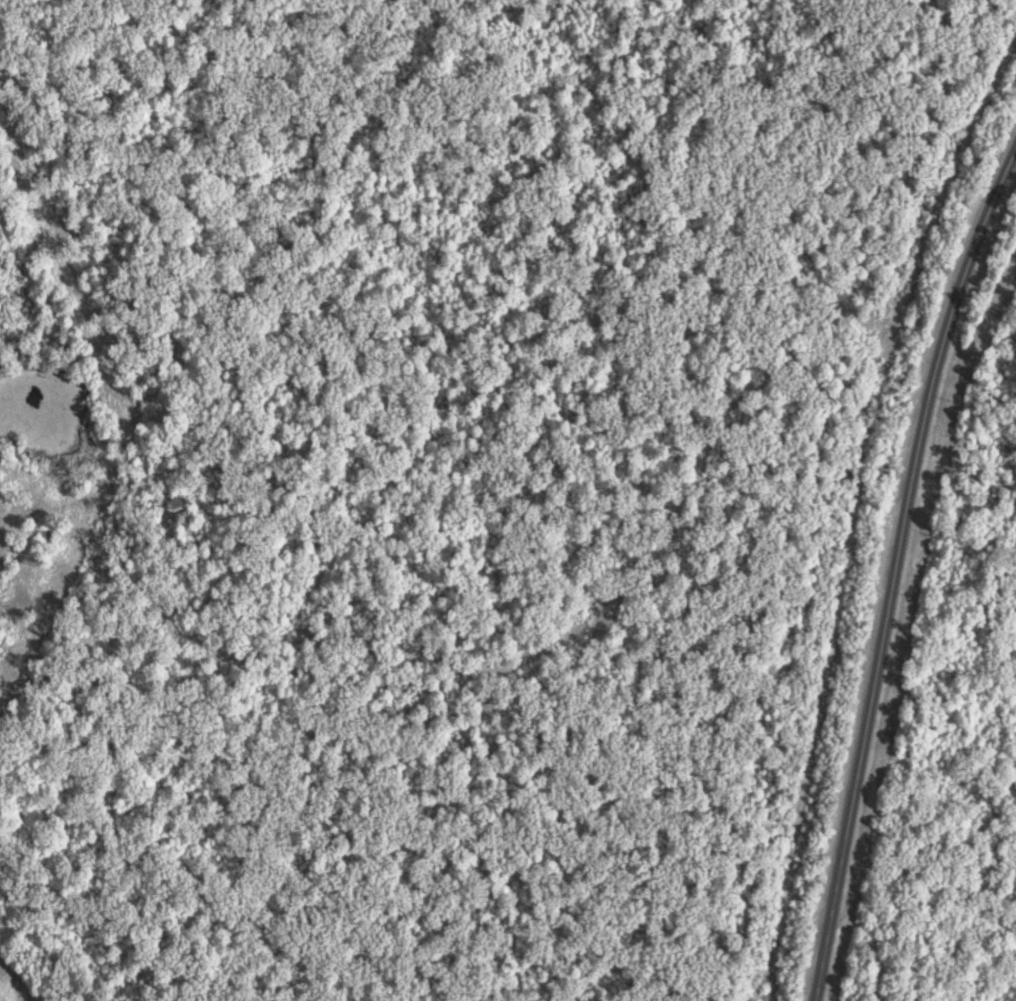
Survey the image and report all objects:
road: (860, 515)
road: (895, 571)
road: (884, 938)

